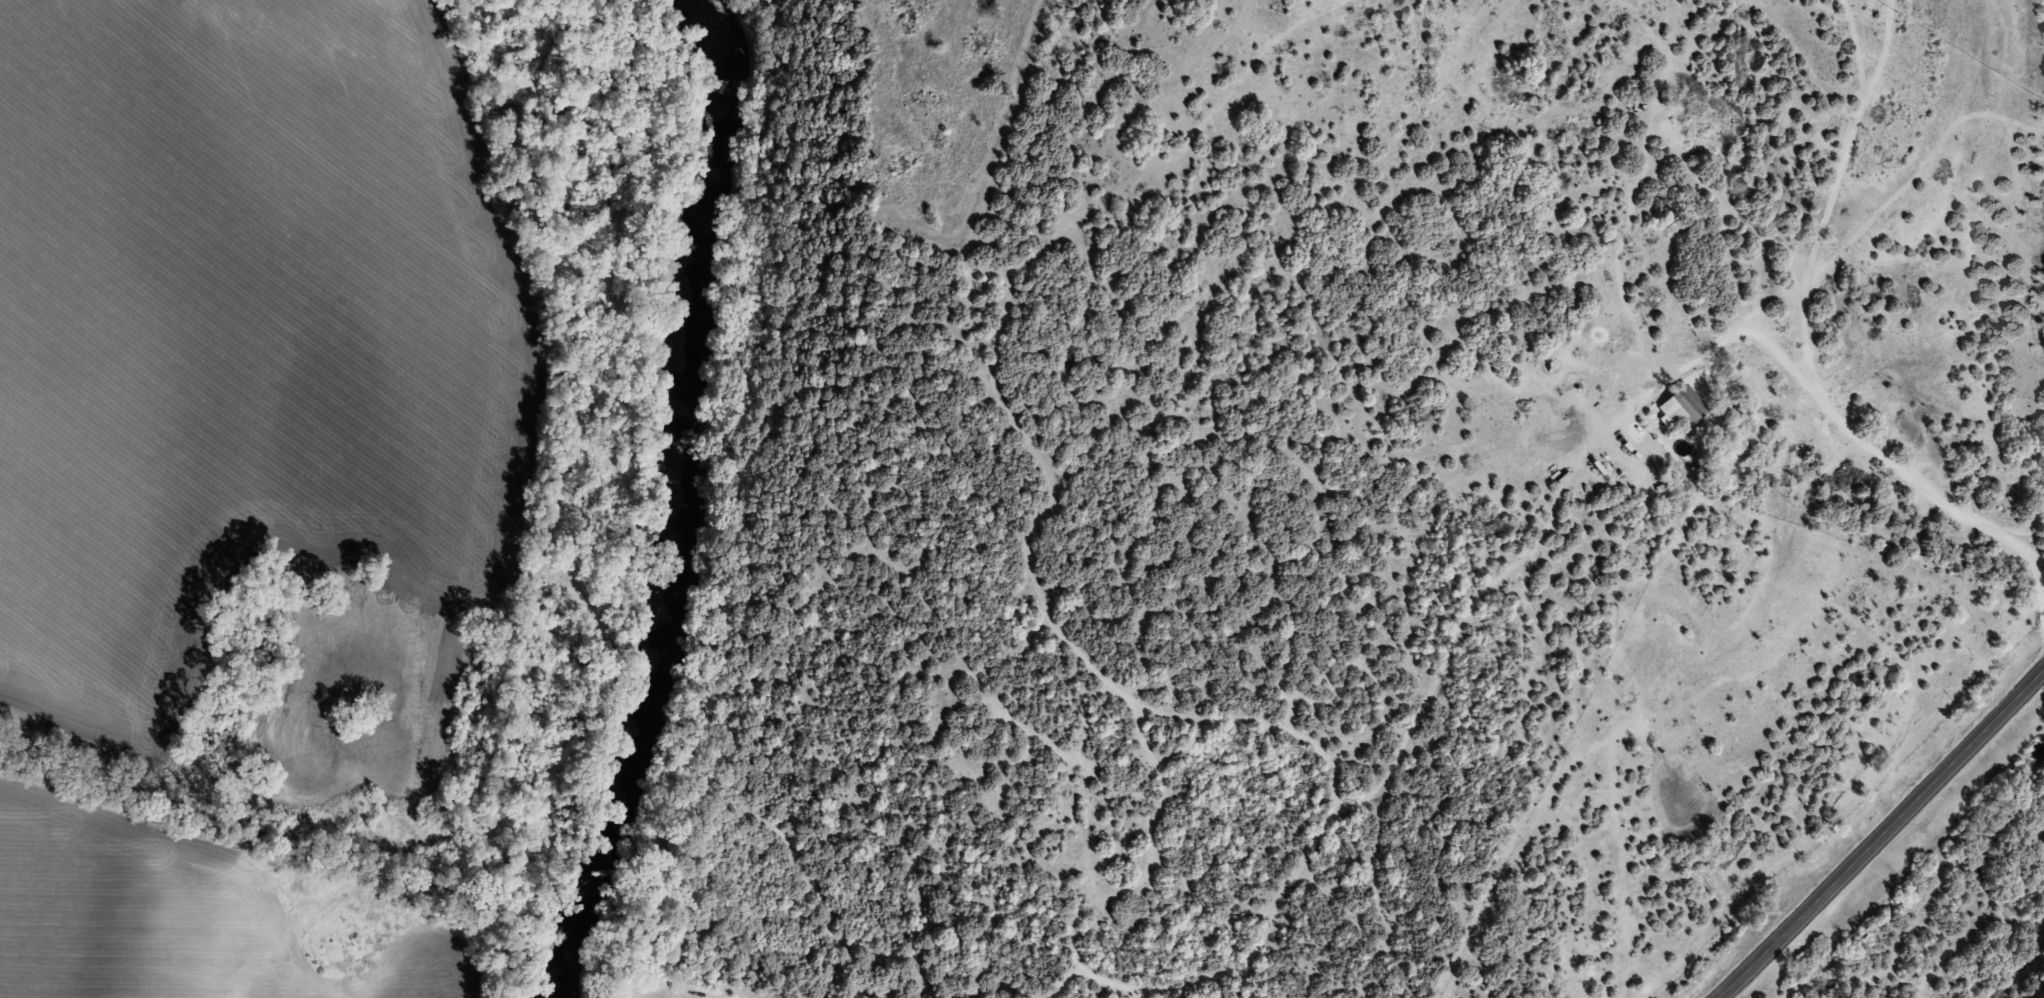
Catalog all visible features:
building: (1685, 409)
river: (684, 502)
road: (1467, 816)
road: (1883, 834)

